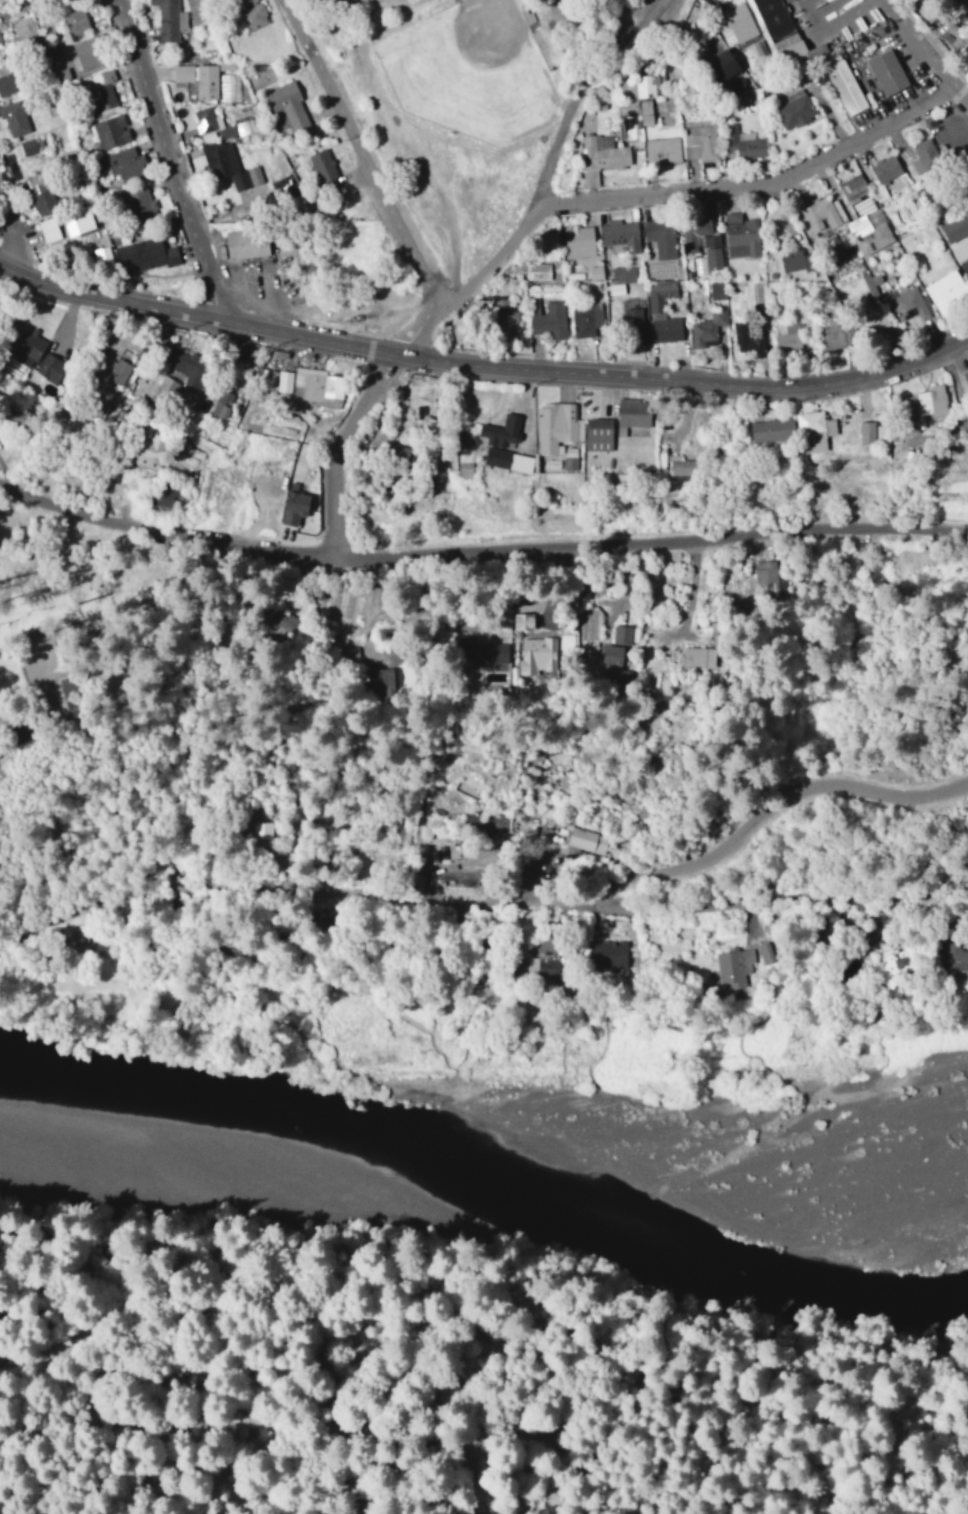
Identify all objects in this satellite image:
building: (252, 14)
building: (169, 18)
building: (76, 20)
building: (736, 23)
building: (783, 29)
building: (24, 30)
building: (956, 35)
building: (90, 52)
road: (919, 53)
building: (0, 56)
road: (541, 57)
building: (728, 64)
building: (69, 66)
building: (889, 72)
building: (200, 78)
building: (6, 80)
park: (456, 83)
building: (847, 86)
road: (584, 90)
building: (649, 91)
building: (105, 96)
building: (629, 98)
building: (291, 105)
building: (795, 109)
building: (15, 117)
building: (245, 125)
building: (112, 131)
building: (700, 141)
building: (743, 143)
building: (662, 149)
building: (33, 150)
building: (224, 153)
road: (362, 153)
building: (925, 155)
building: (601, 156)
road: (171, 161)
building: (126, 164)
building: (325, 167)
building: (887, 167)
building: (43, 191)
road: (760, 192)
building: (857, 193)
building: (141, 202)
building: (820, 214)
building: (88, 221)
building: (957, 227)
road: (6, 229)
building: (871, 231)
building: (622, 234)
building: (743, 235)
building: (662, 236)
building: (580, 240)
building: (550, 241)
building: (250, 243)
building: (705, 244)
building: (147, 254)
building: (104, 255)
building: (795, 260)
building: (538, 271)
building: (624, 272)
building: (616, 288)
building: (718, 290)
road: (473, 292)
building: (948, 292)
building: (866, 304)
building: (664, 312)
building: (504, 317)
building: (587, 317)
building: (634, 321)
building: (709, 329)
building: (748, 336)
building: (790, 337)
building: (37, 355)
building: (119, 369)
road: (481, 373)
building: (966, 374)
building: (309, 386)
building: (164, 391)
building: (218, 405)
building: (926, 405)
building: (635, 415)
building: (558, 427)
building: (775, 429)
building: (503, 430)
building: (818, 430)
building: (873, 431)
building: (601, 433)
building: (148, 454)
road: (342, 454)
building: (510, 459)
building: (682, 466)
building: (297, 503)
road: (479, 557)
building: (760, 571)
building: (527, 619)
building: (587, 624)
building: (622, 633)
building: (350, 647)
building: (482, 649)
building: (539, 652)
building: (699, 655)
building: (617, 660)
building: (386, 678)
building: (0, 727)
building: (469, 782)
building: (488, 820)
building: (262, 831)
building: (584, 841)
building: (448, 848)
road: (571, 910)
road: (777, 911)
road: (71, 915)
building: (611, 953)
building: (955, 957)
building: (734, 966)
building: (886, 969)
road: (273, 994)
river: (485, 1184)

